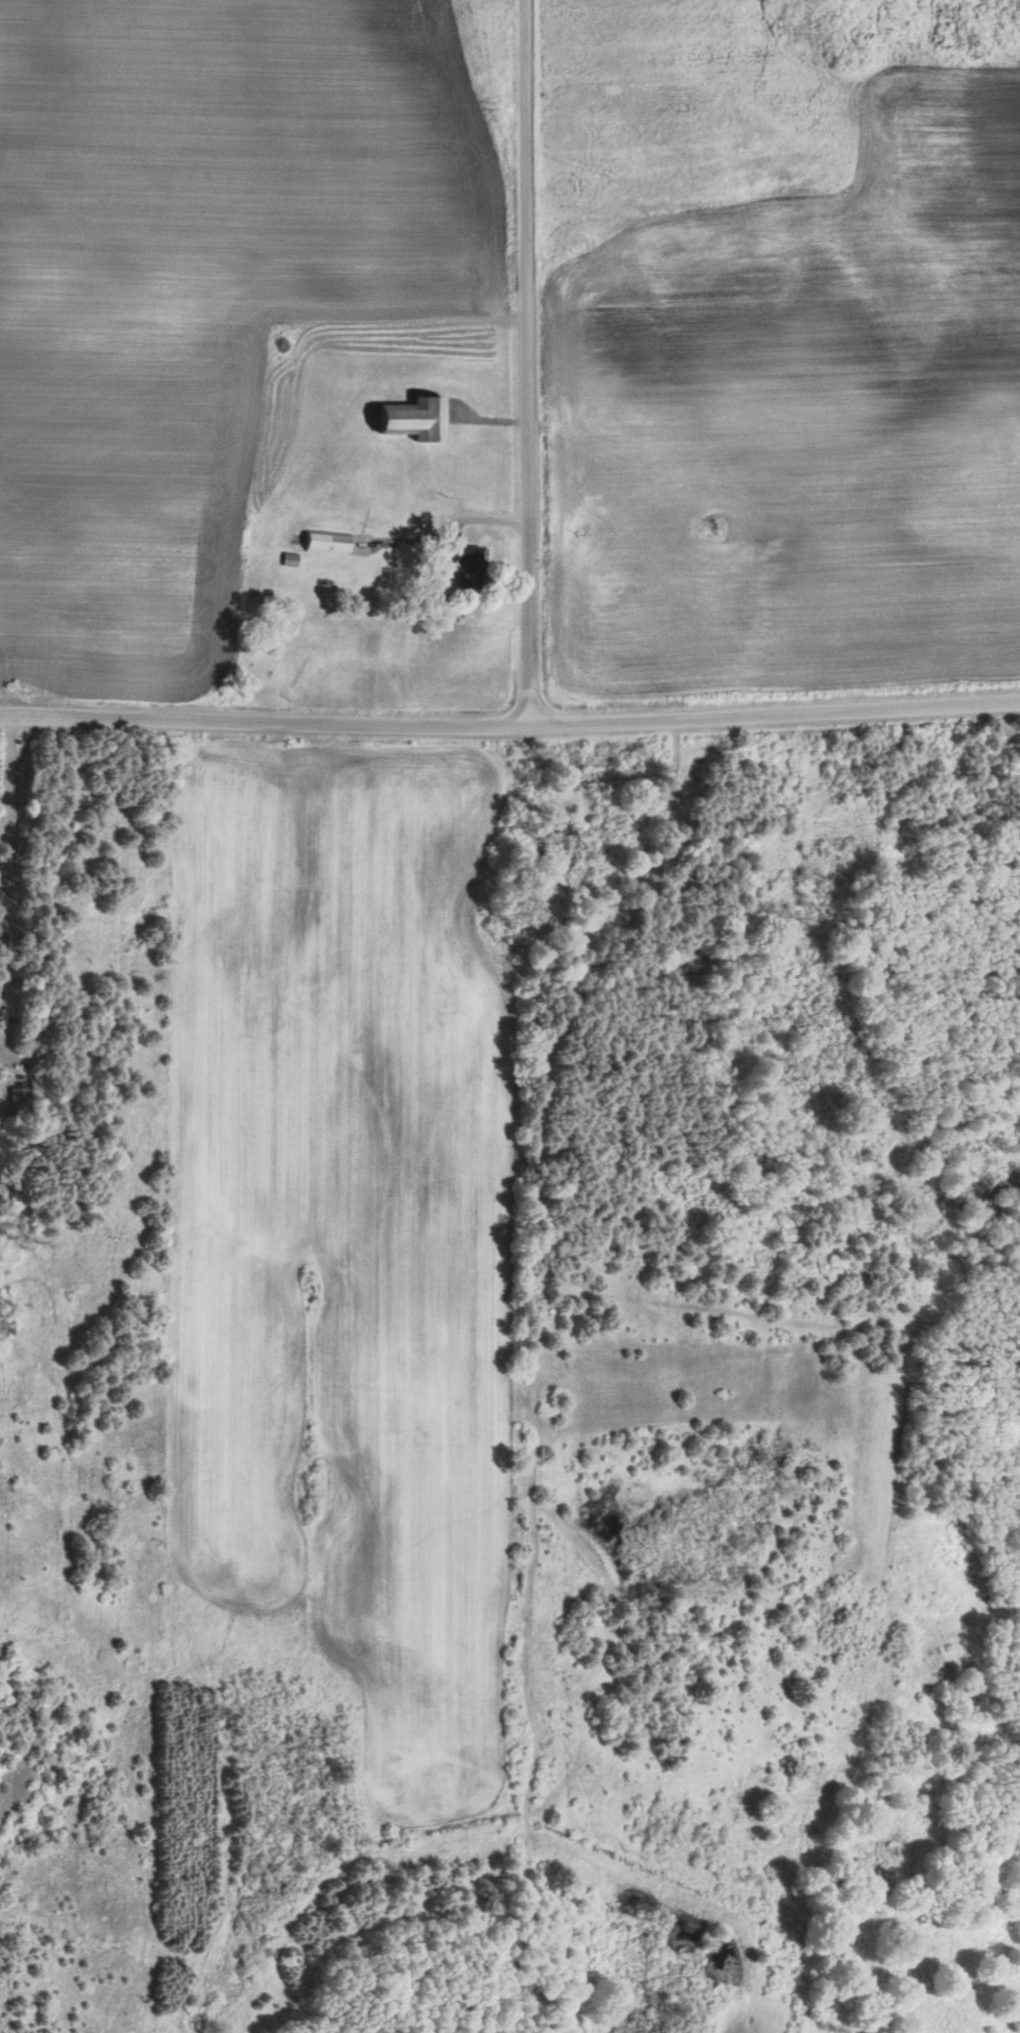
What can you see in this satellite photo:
road: (522, 363)
building: (416, 420)
building: (326, 543)
building: (468, 568)
road: (510, 726)
road: (3, 787)

